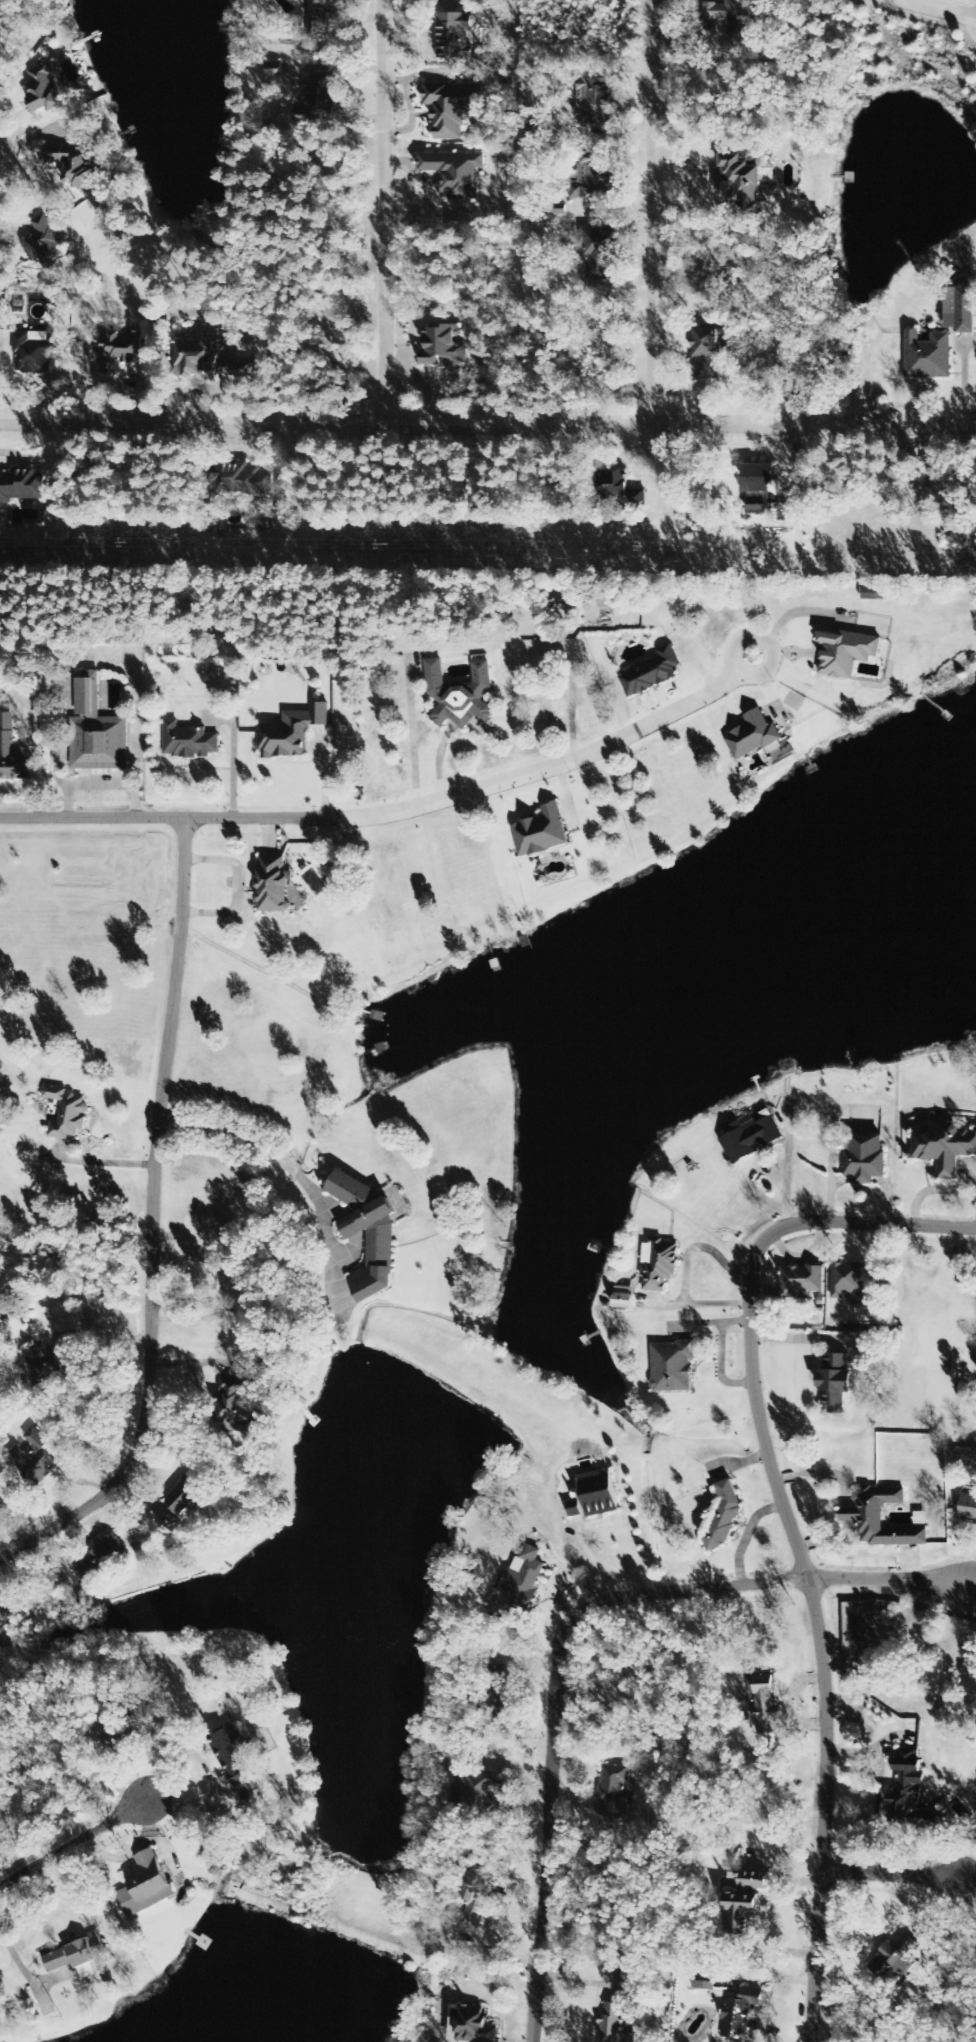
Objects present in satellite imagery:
road: (941, 9)
building: (736, 17)
building: (317, 18)
building: (452, 36)
building: (44, 90)
building: (318, 98)
building: (594, 101)
building: (452, 108)
building: (73, 164)
building: (454, 173)
building: (592, 179)
building: (745, 180)
road: (385, 212)
road: (654, 213)
building: (42, 243)
building: (599, 252)
building: (960, 309)
building: (442, 346)
building: (119, 349)
building: (707, 354)
building: (31, 356)
building: (927, 356)
building: (209, 362)
road: (487, 425)
building: (241, 480)
building: (757, 485)
building: (20, 486)
building: (619, 489)
building: (873, 594)
building: (606, 602)
building: (846, 652)
building: (650, 673)
building: (460, 695)
building: (97, 730)
building: (292, 732)
building: (754, 736)
building: (188, 742)
building: (12, 752)
road: (396, 811)
building: (541, 832)
building: (273, 884)
building: (68, 1113)
building: (749, 1137)
building: (943, 1147)
building: (864, 1156)
road: (152, 1224)
building: (380, 1237)
building: (660, 1266)
building: (801, 1282)
building: (849, 1283)
building: (623, 1297)
building: (672, 1366)
building: (43, 1375)
building: (835, 1380)
building: (236, 1407)
building: (35, 1458)
building: (599, 1494)
building: (187, 1495)
building: (967, 1509)
building: (574, 1510)
building: (724, 1516)
road: (792, 1530)
building: (99, 1560)
building: (521, 1585)
road: (568, 1627)
building: (495, 1699)
building: (764, 1704)
building: (229, 1755)
building: (906, 1785)
building: (480, 1789)
building: (609, 1791)
road: (74, 1845)
road: (892, 1874)
building: (145, 1885)
building: (475, 1897)
building: (76, 1957)
building: (893, 1958)
building: (704, 1985)
building: (739, 2013)
building: (612, 2023)
building: (470, 2025)

